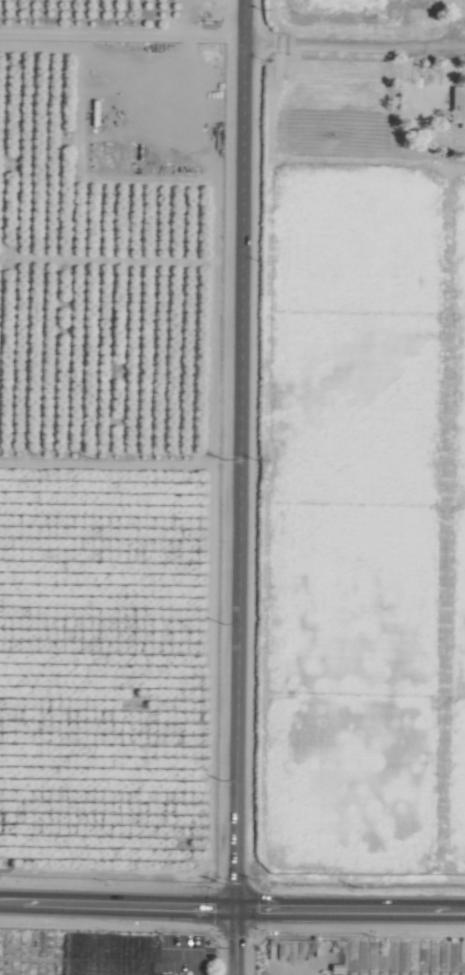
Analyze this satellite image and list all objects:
road: (353, 41)
building: (456, 106)
road: (237, 453)
crop: (232, 487)
road: (116, 903)
road: (348, 908)
road: (231, 941)
crop: (230, 949)

